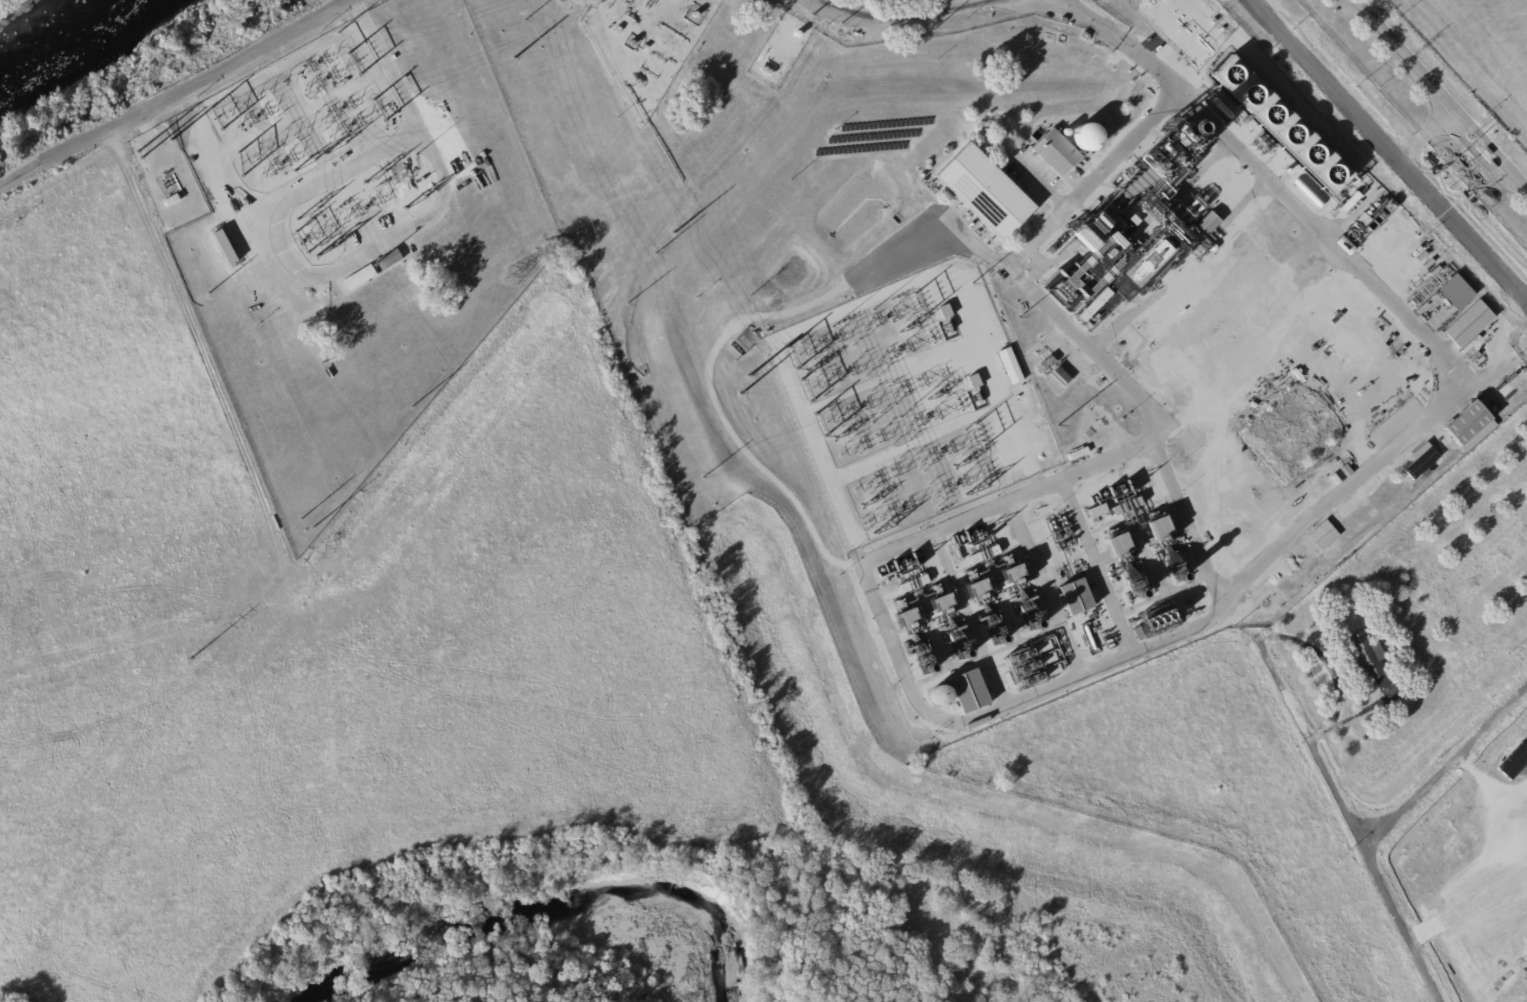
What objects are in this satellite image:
power tower: (561, 3)
road: (904, 14)
power tower: (526, 21)
river: (36, 28)
building: (619, 31)
power tower: (337, 35)
building: (1086, 36)
building: (647, 47)
crop: (1480, 51)
power tower: (511, 61)
road: (1442, 95)
road: (171, 97)
wastewater plant: (1433, 103)
building: (1278, 126)
chimney: (1190, 127)
road: (1424, 132)
building: (1088, 139)
storage tank: (1088, 139)
power tower: (171, 143)
road: (1390, 150)
building: (1058, 153)
building: (1489, 153)
power tower: (138, 156)
building: (406, 163)
building: (987, 193)
building: (173, 200)
building: (1353, 202)
building: (323, 204)
road: (1064, 209)
building: (1207, 227)
power tower: (674, 236)
road: (1327, 238)
power substation: (347, 239)
building: (1347, 246)
building: (1402, 252)
power tower: (656, 254)
building: (390, 261)
building: (361, 278)
power tower: (512, 280)
building: (1455, 292)
power tower: (209, 294)
power tower: (628, 305)
building: (1097, 307)
power tower: (1019, 320)
power plant: (1003, 324)
building: (1470, 325)
road: (729, 331)
building: (745, 341)
building: (1050, 363)
building: (1013, 368)
building: (1064, 377)
power tower: (750, 380)
building: (1502, 388)
building: (1506, 392)
building: (1510, 397)
power tower: (742, 398)
power substation: (912, 403)
power tower: (413, 409)
building: (1471, 424)
power tower: (1058, 428)
building: (1432, 453)
building: (1079, 454)
road: (1372, 472)
power tower: (703, 480)
building: (1399, 489)
building: (1096, 511)
power tower: (300, 520)
building: (1158, 527)
power tower: (314, 530)
building: (1119, 546)
chimney: (1180, 576)
building: (909, 585)
building: (977, 588)
chimney: (1139, 592)
building: (1077, 598)
building: (906, 616)
building: (1156, 622)
chimney: (1036, 624)
chimney: (1000, 639)
building: (1043, 647)
chimney: (964, 654)
building: (1370, 658)
power tower: (190, 659)
chimney: (927, 667)
building: (1024, 668)
building: (970, 693)
building: (940, 695)
road: (939, 719)
road: (1313, 750)
building: (1515, 763)
road: (1386, 828)
river: (491, 921)

